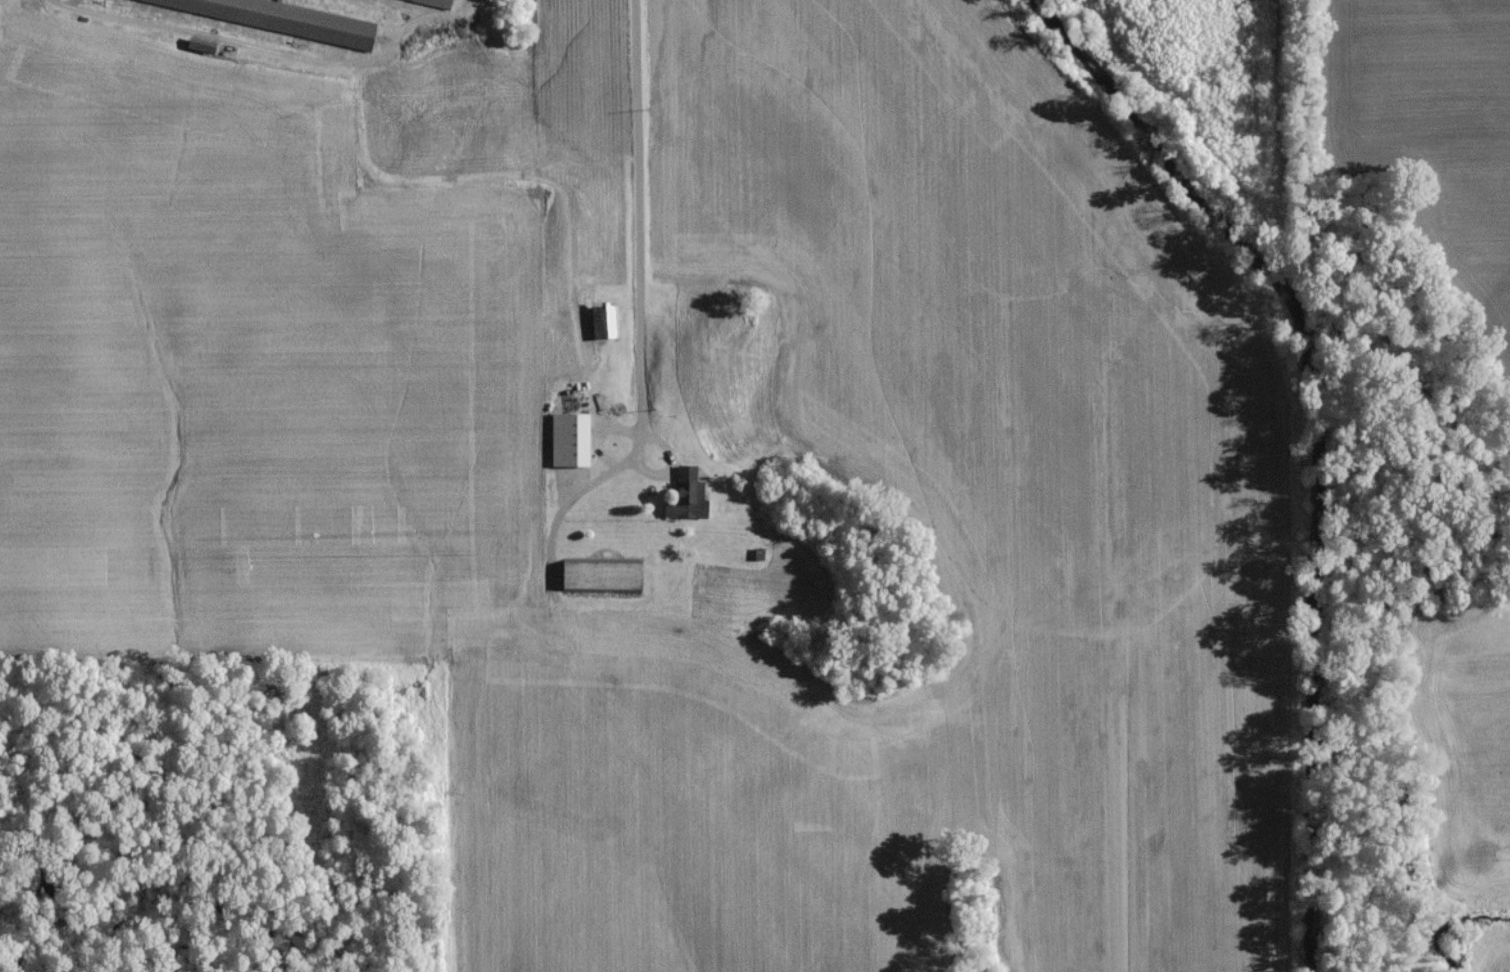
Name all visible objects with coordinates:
building: (438, 2)
building: (268, 18)
road: (640, 226)
building: (601, 326)
building: (572, 431)
building: (687, 500)
building: (602, 580)

